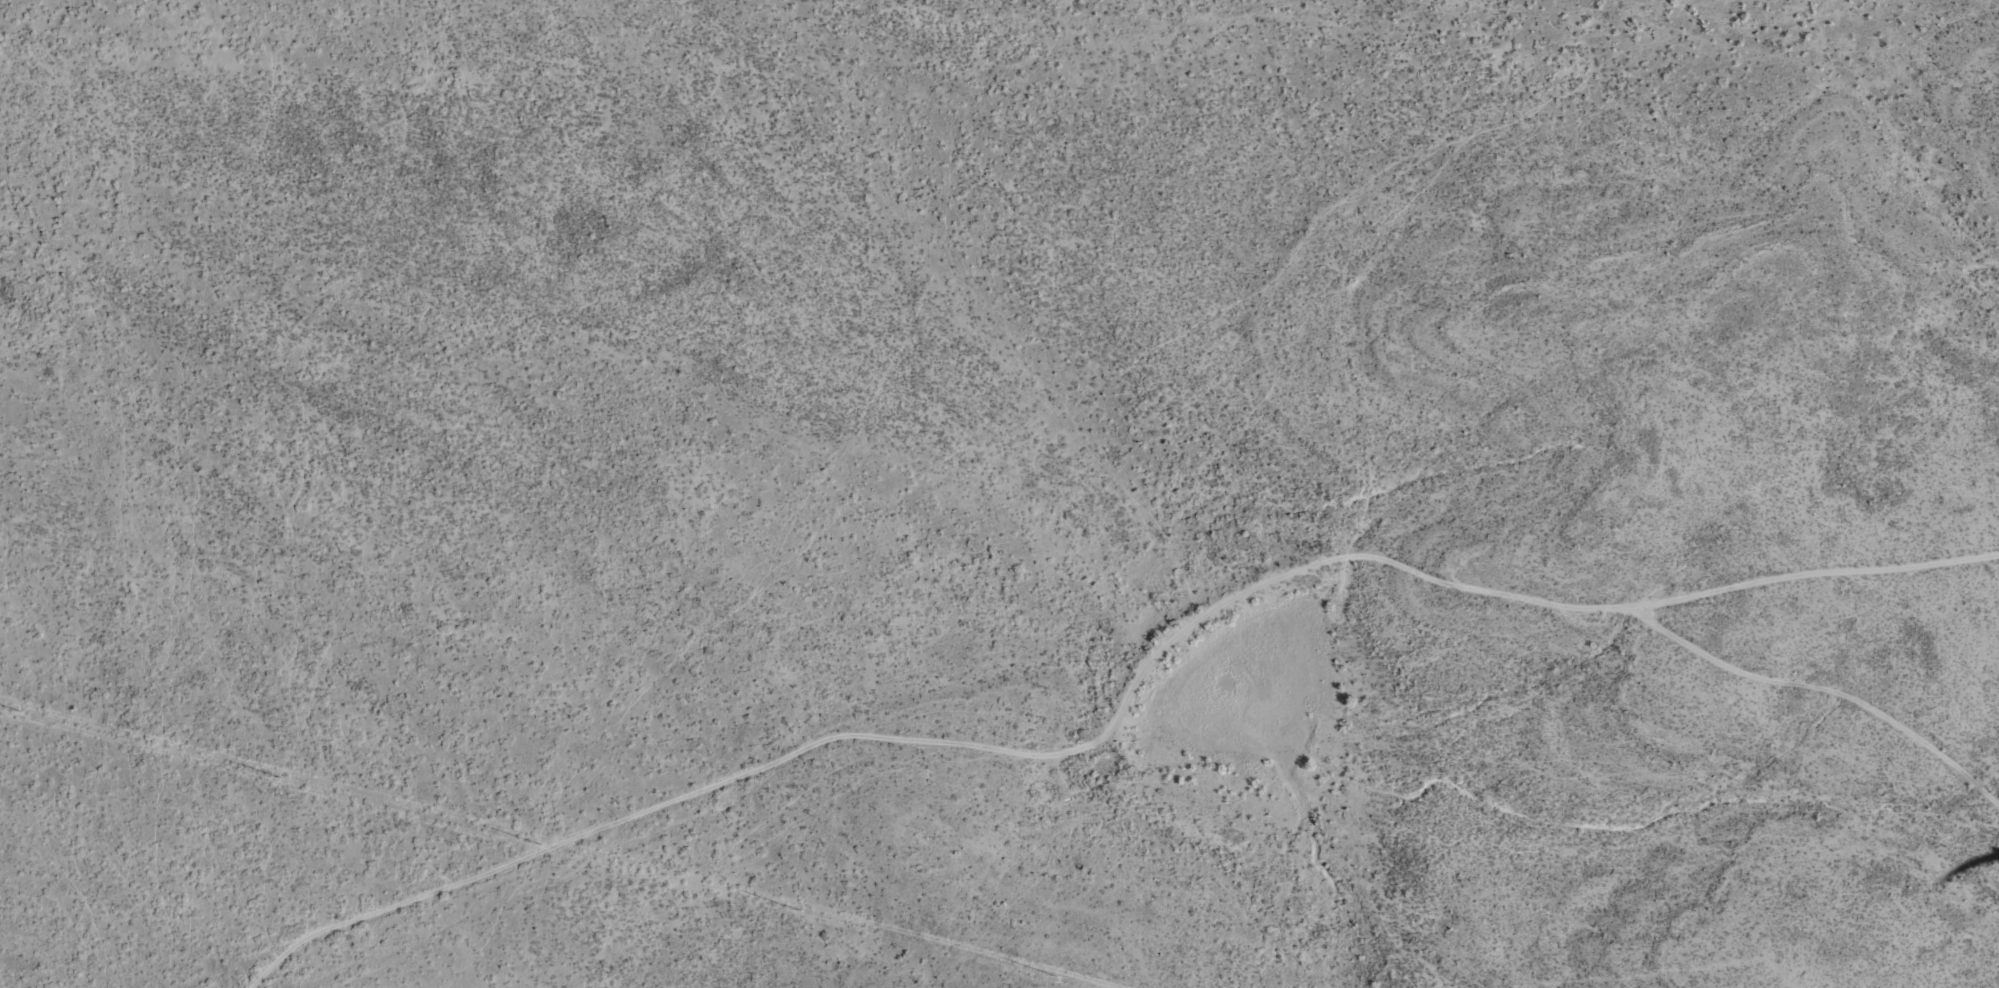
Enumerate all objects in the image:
road: (1817, 551)
road: (1136, 654)
power tower: (18, 714)
power tower: (277, 779)
power tower: (541, 847)
power tower: (796, 913)
road: (178, 969)
power tower: (1052, 978)

